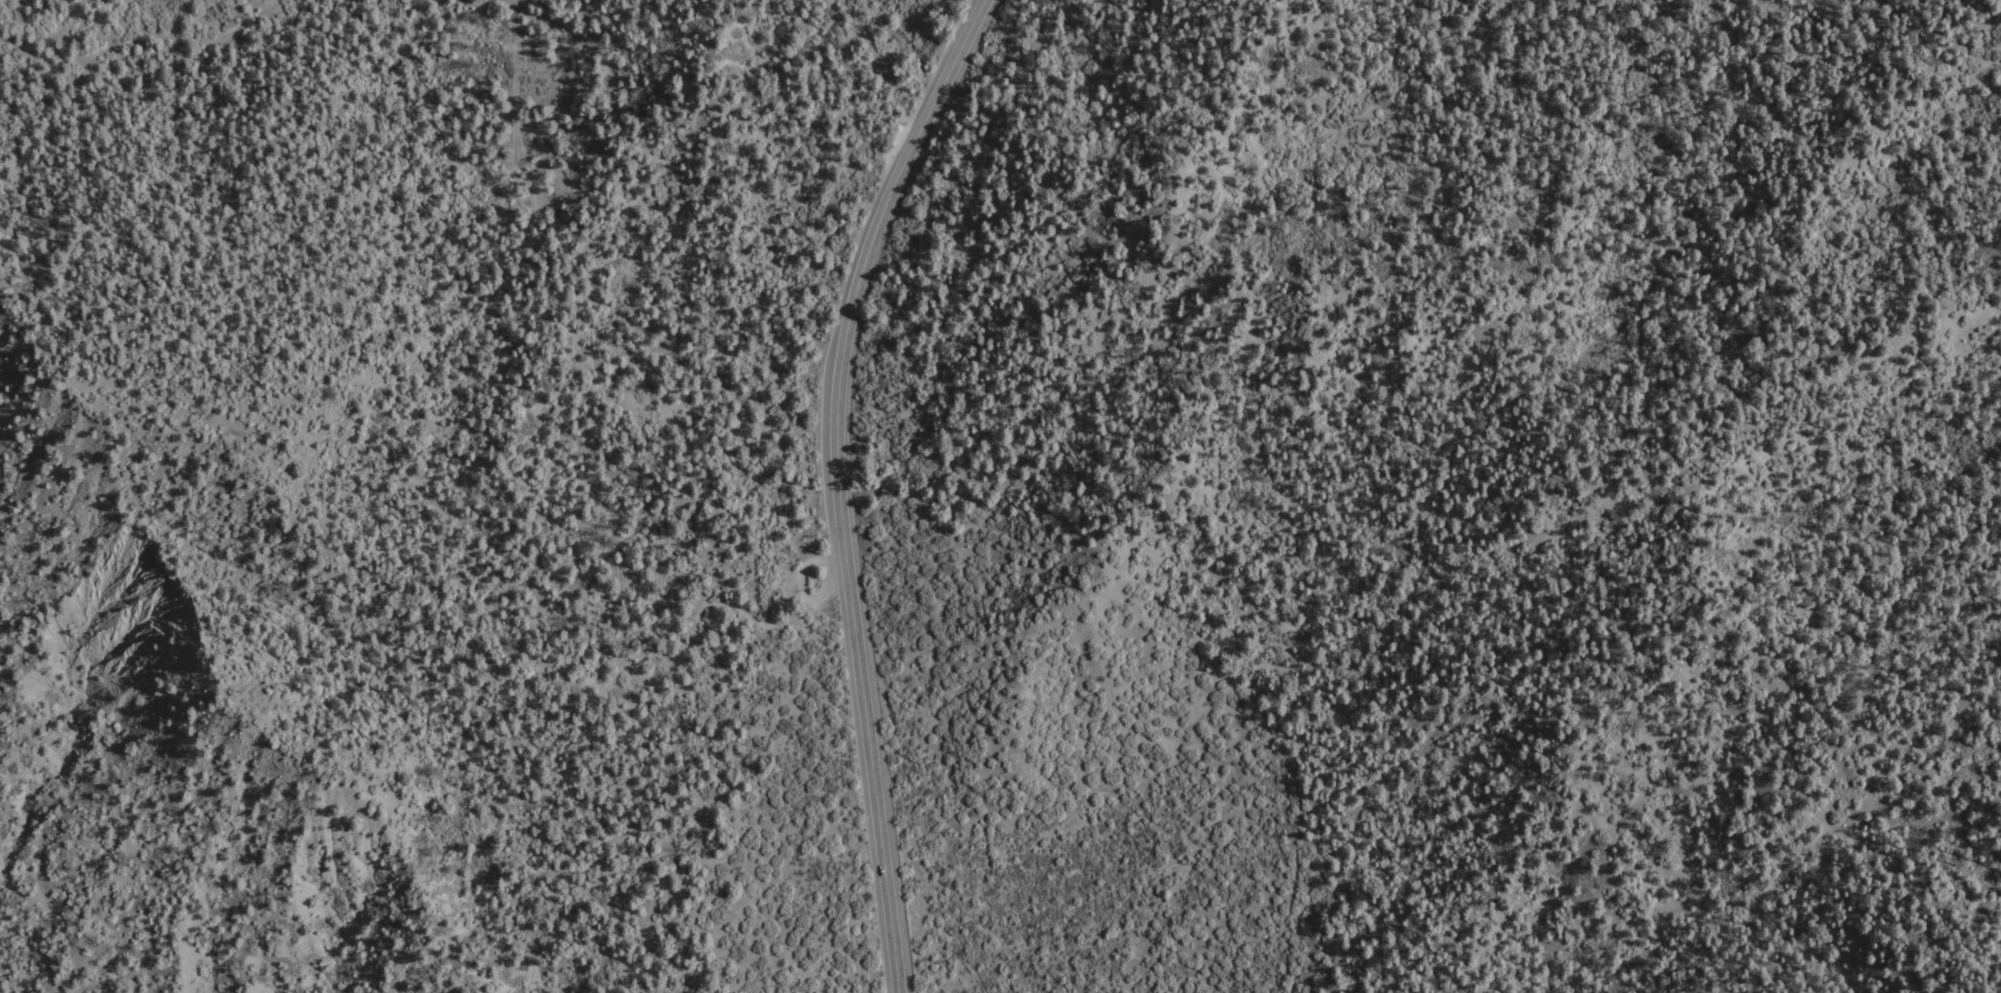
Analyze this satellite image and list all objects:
road: (838, 482)

